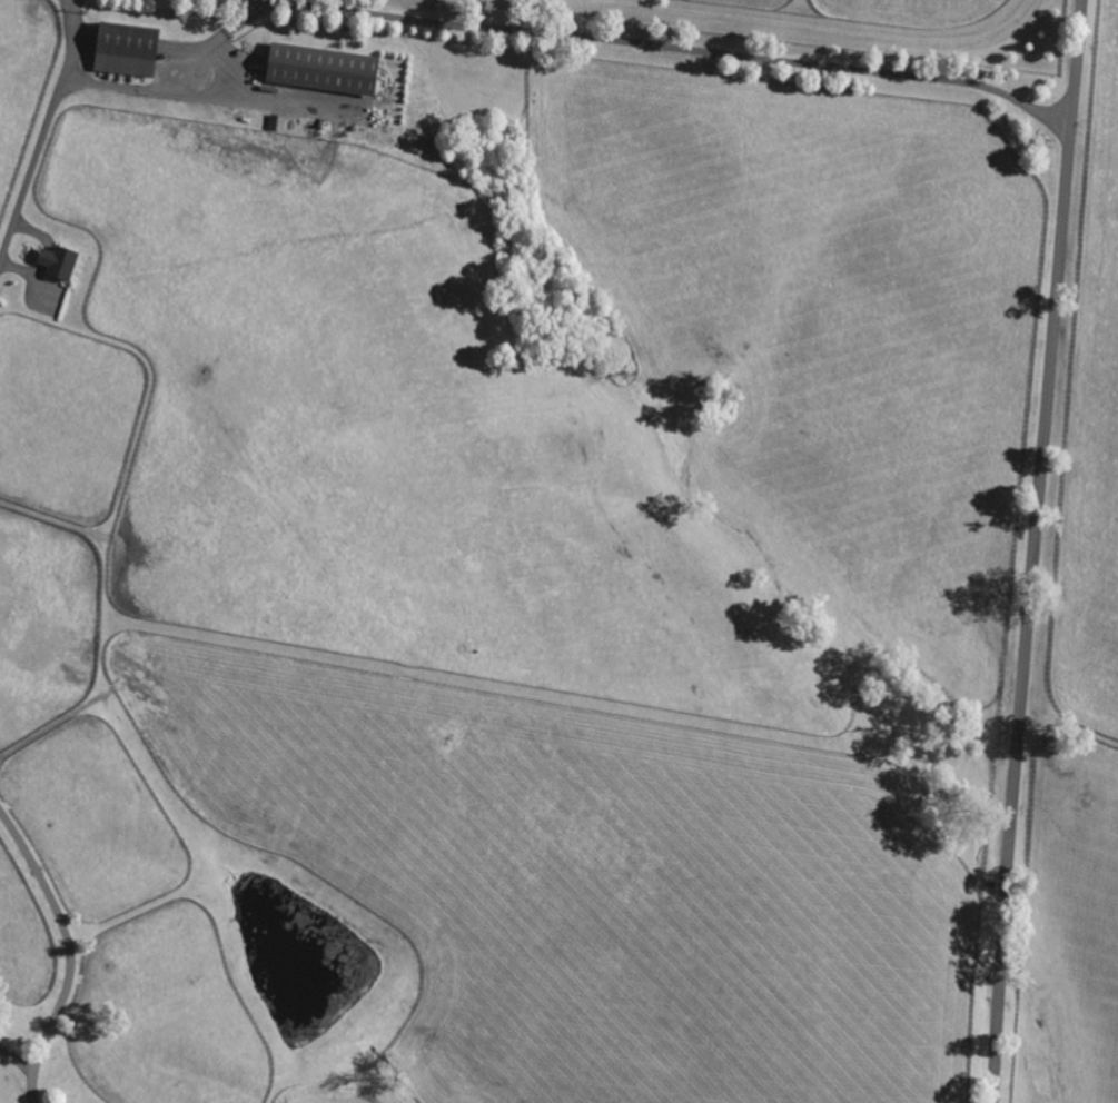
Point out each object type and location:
road: (673, 46)
building: (125, 47)
building: (320, 67)
road: (46, 130)
building: (57, 259)
road: (1033, 550)
road: (69, 953)

